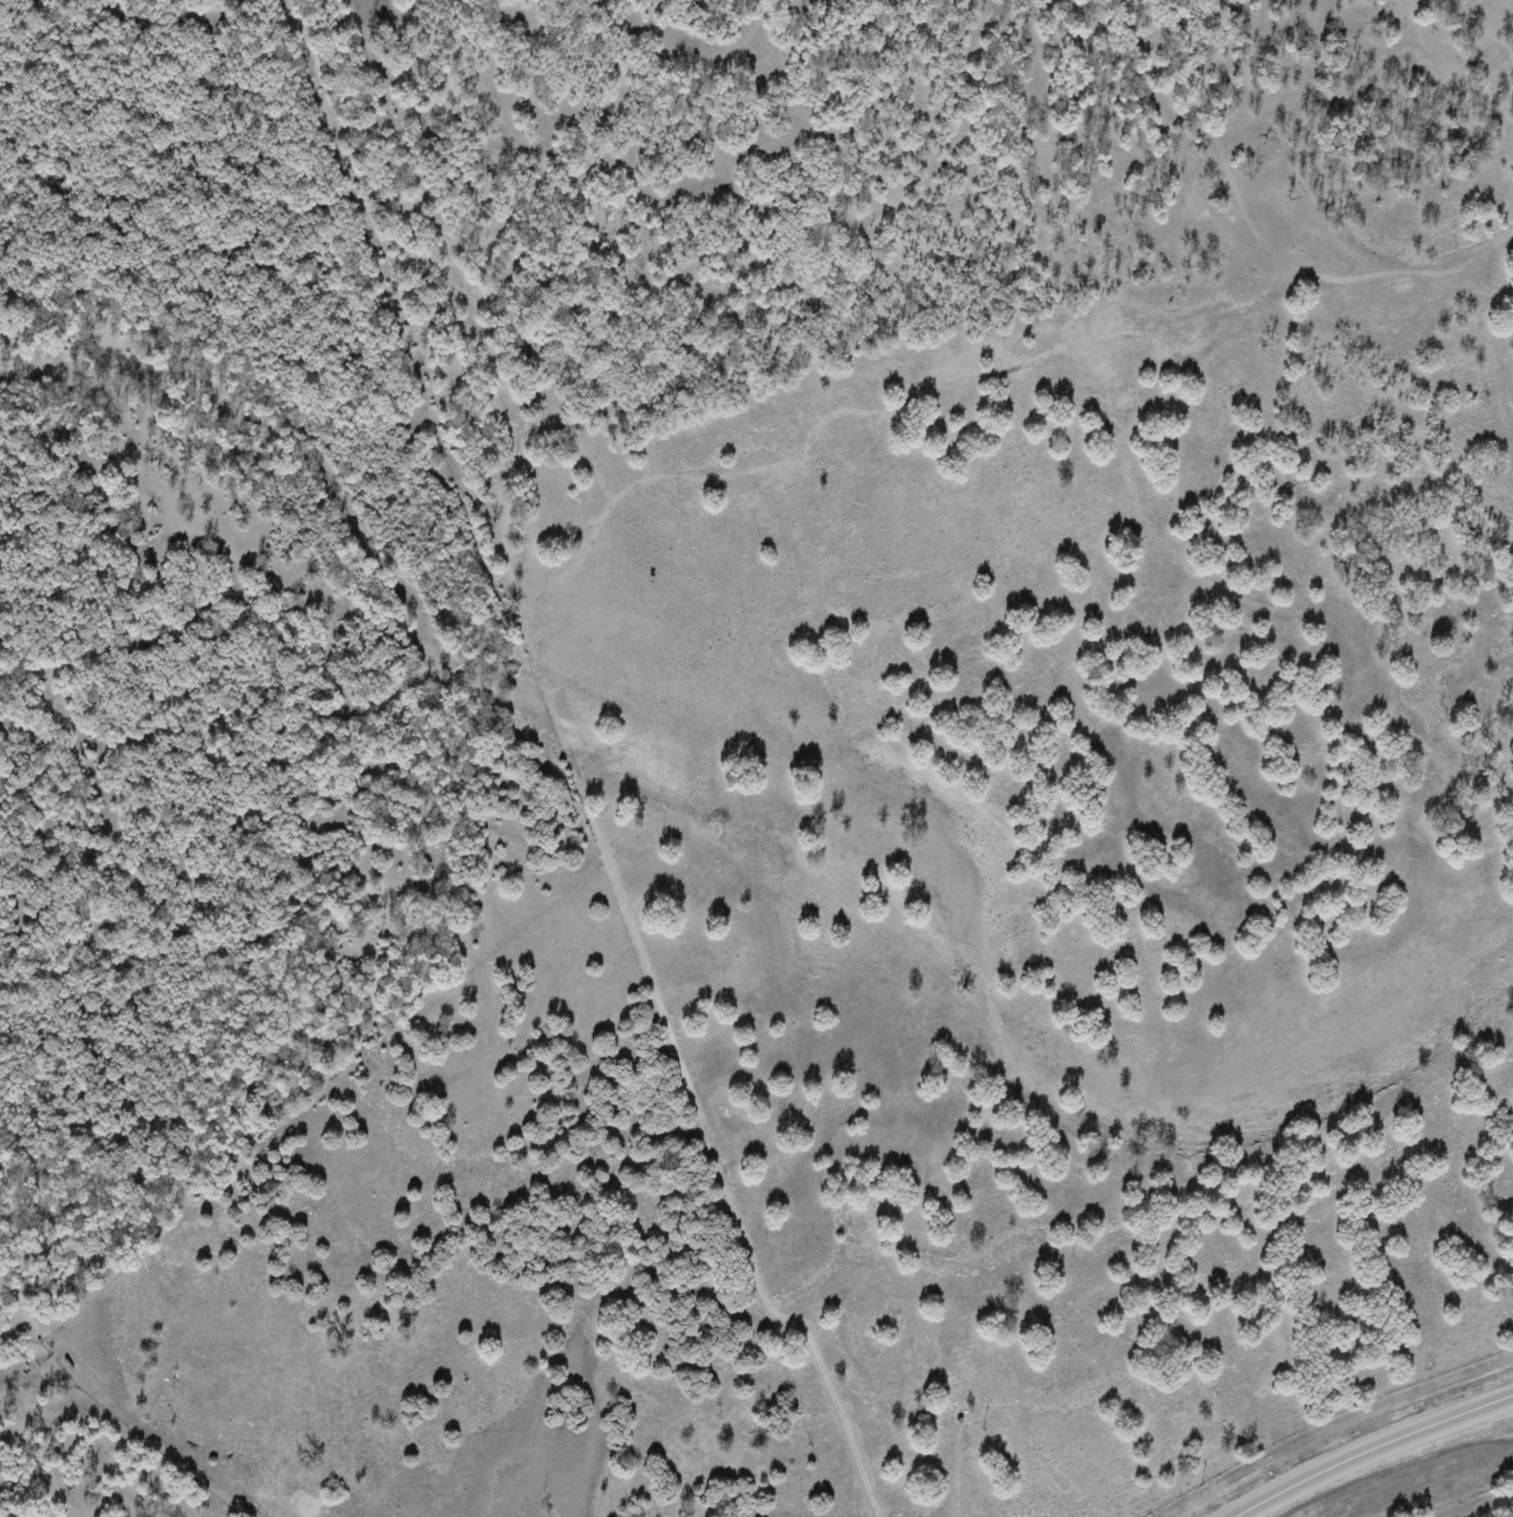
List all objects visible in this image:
road: (1370, 1447)

